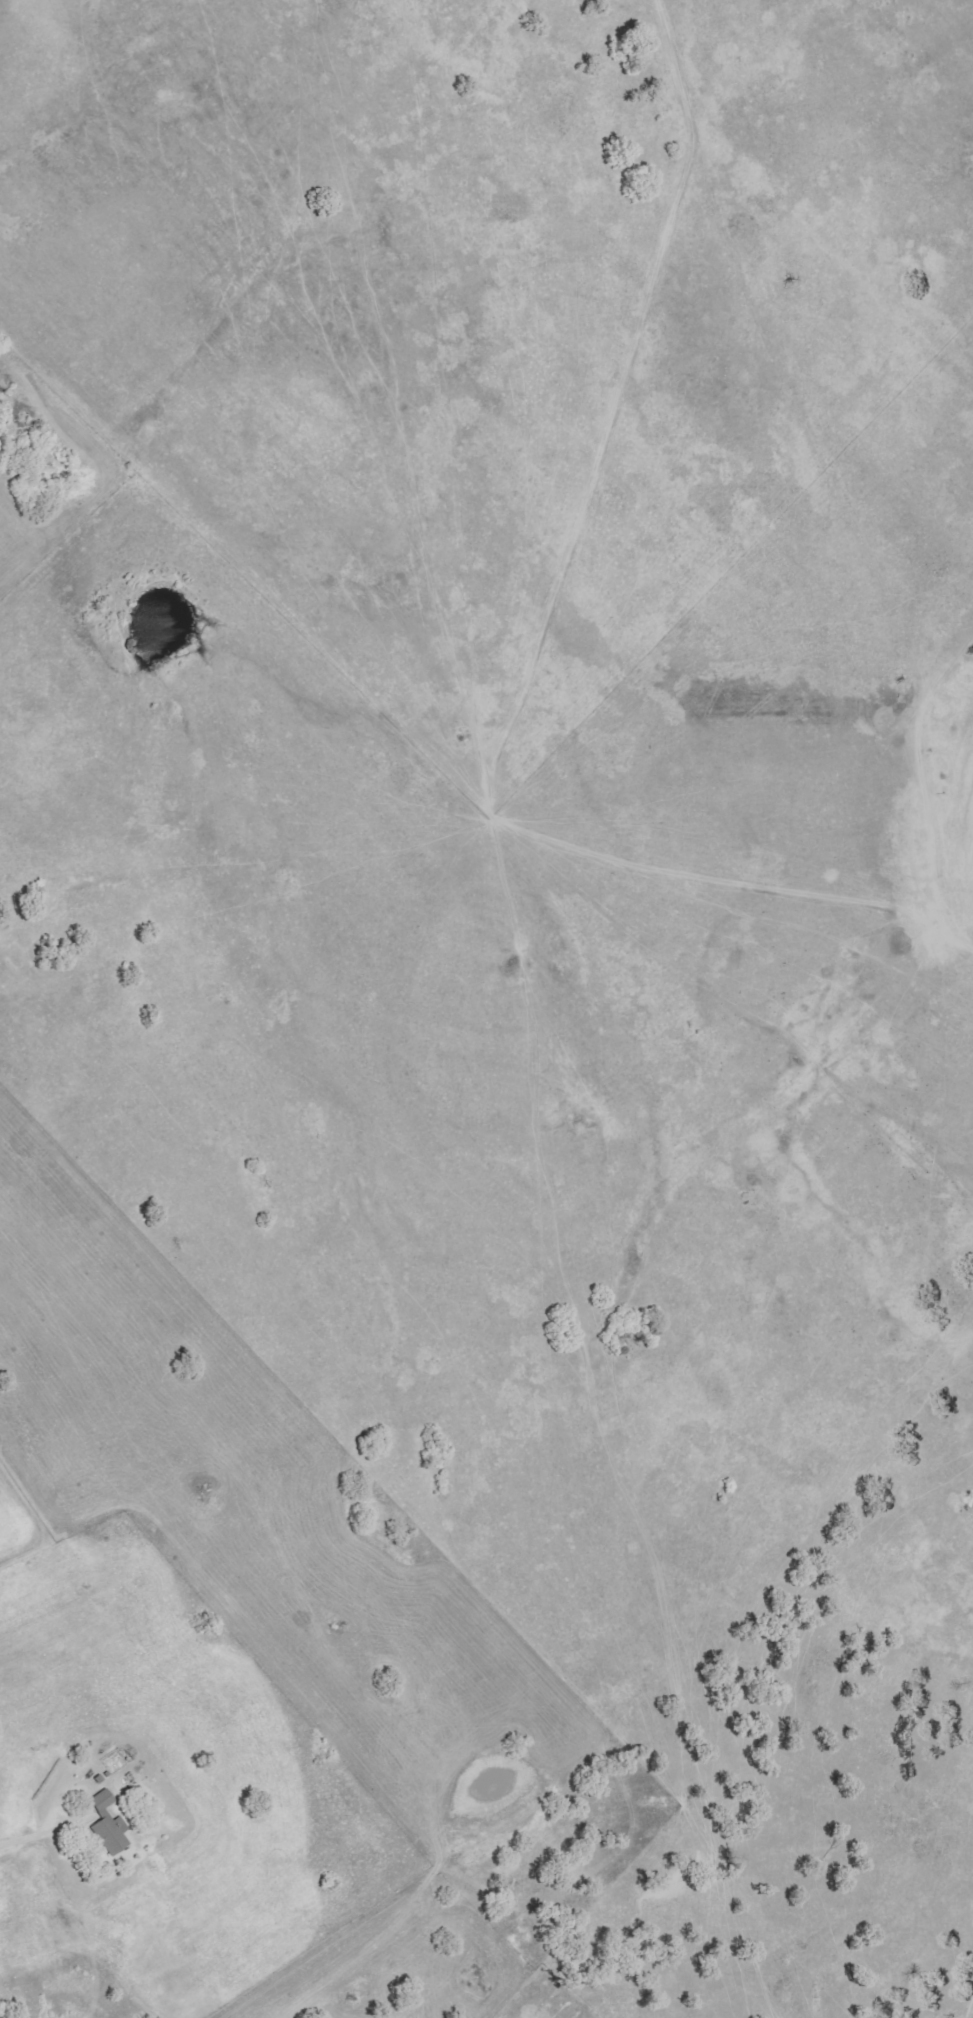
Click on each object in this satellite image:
building: (107, 1824)
road: (25, 1838)

